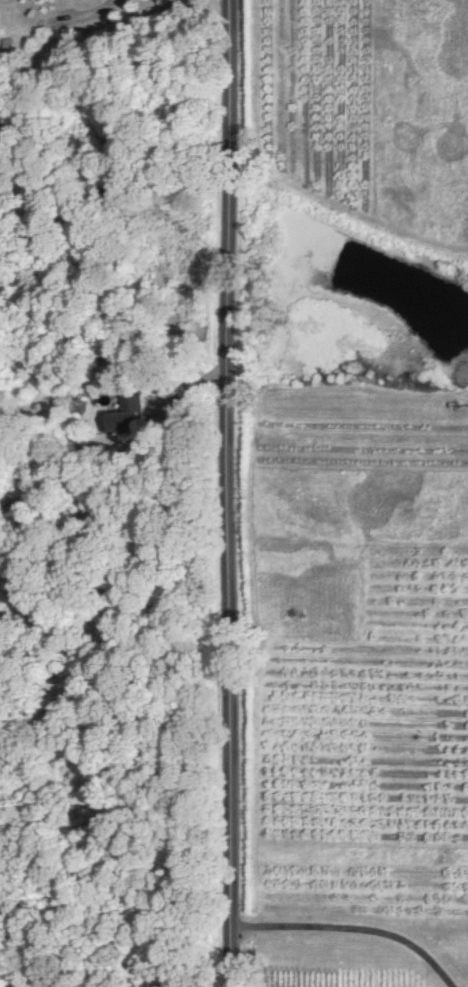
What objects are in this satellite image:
road: (91, 11)
building: (130, 416)
road: (236, 493)
road: (355, 928)

